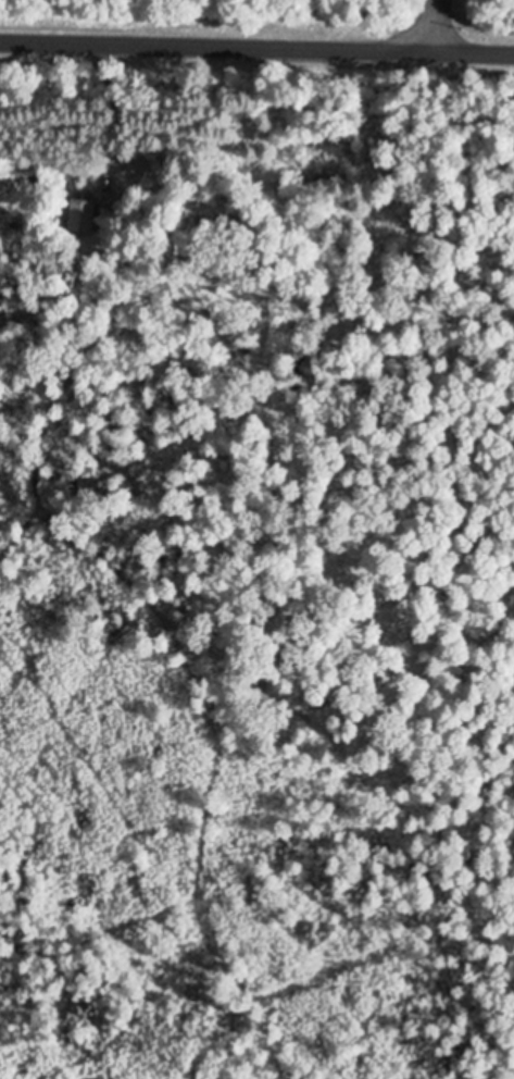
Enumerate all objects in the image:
road: (432, 26)
road: (256, 47)

